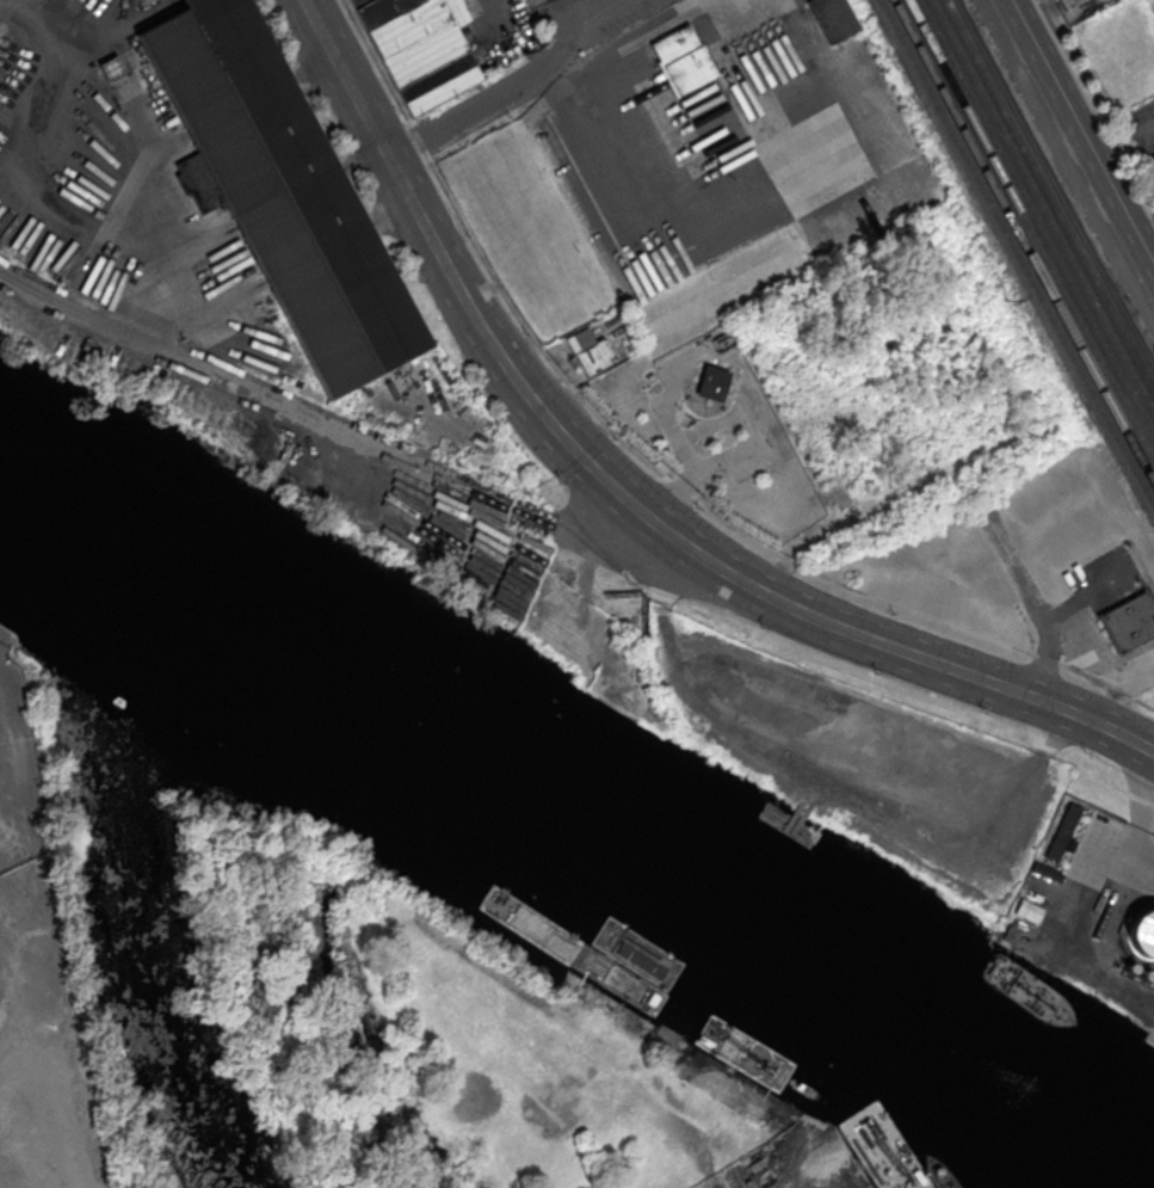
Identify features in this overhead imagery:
building: (1068, 2)
road: (4, 7)
road: (570, 14)
road: (51, 18)
building: (833, 19)
road: (502, 43)
building: (420, 49)
building: (681, 60)
road: (519, 88)
road: (1081, 133)
road: (815, 150)
road: (111, 159)
building: (1149, 162)
building: (276, 191)
railway: (1049, 193)
railway: (1043, 203)
railway: (1036, 220)
railway: (1031, 229)
railway: (1022, 240)
railway: (1016, 252)
power tower: (1001, 294)
road: (488, 341)
building: (590, 352)
building: (711, 383)
road: (381, 445)
road: (1024, 590)
building: (1130, 623)
road: (965, 671)
river: (576, 794)
building: (1063, 832)
building: (1142, 934)
road: (411, 1186)

